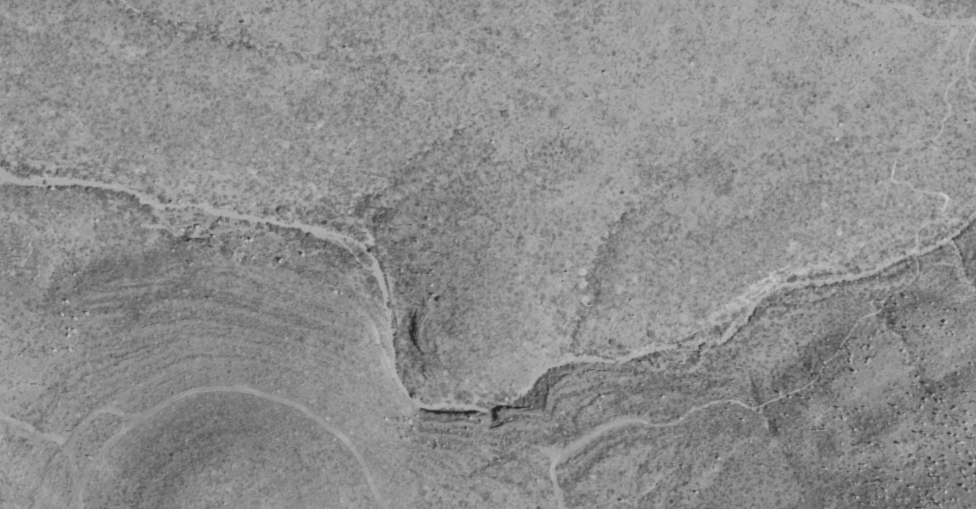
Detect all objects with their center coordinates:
road: (968, 58)

